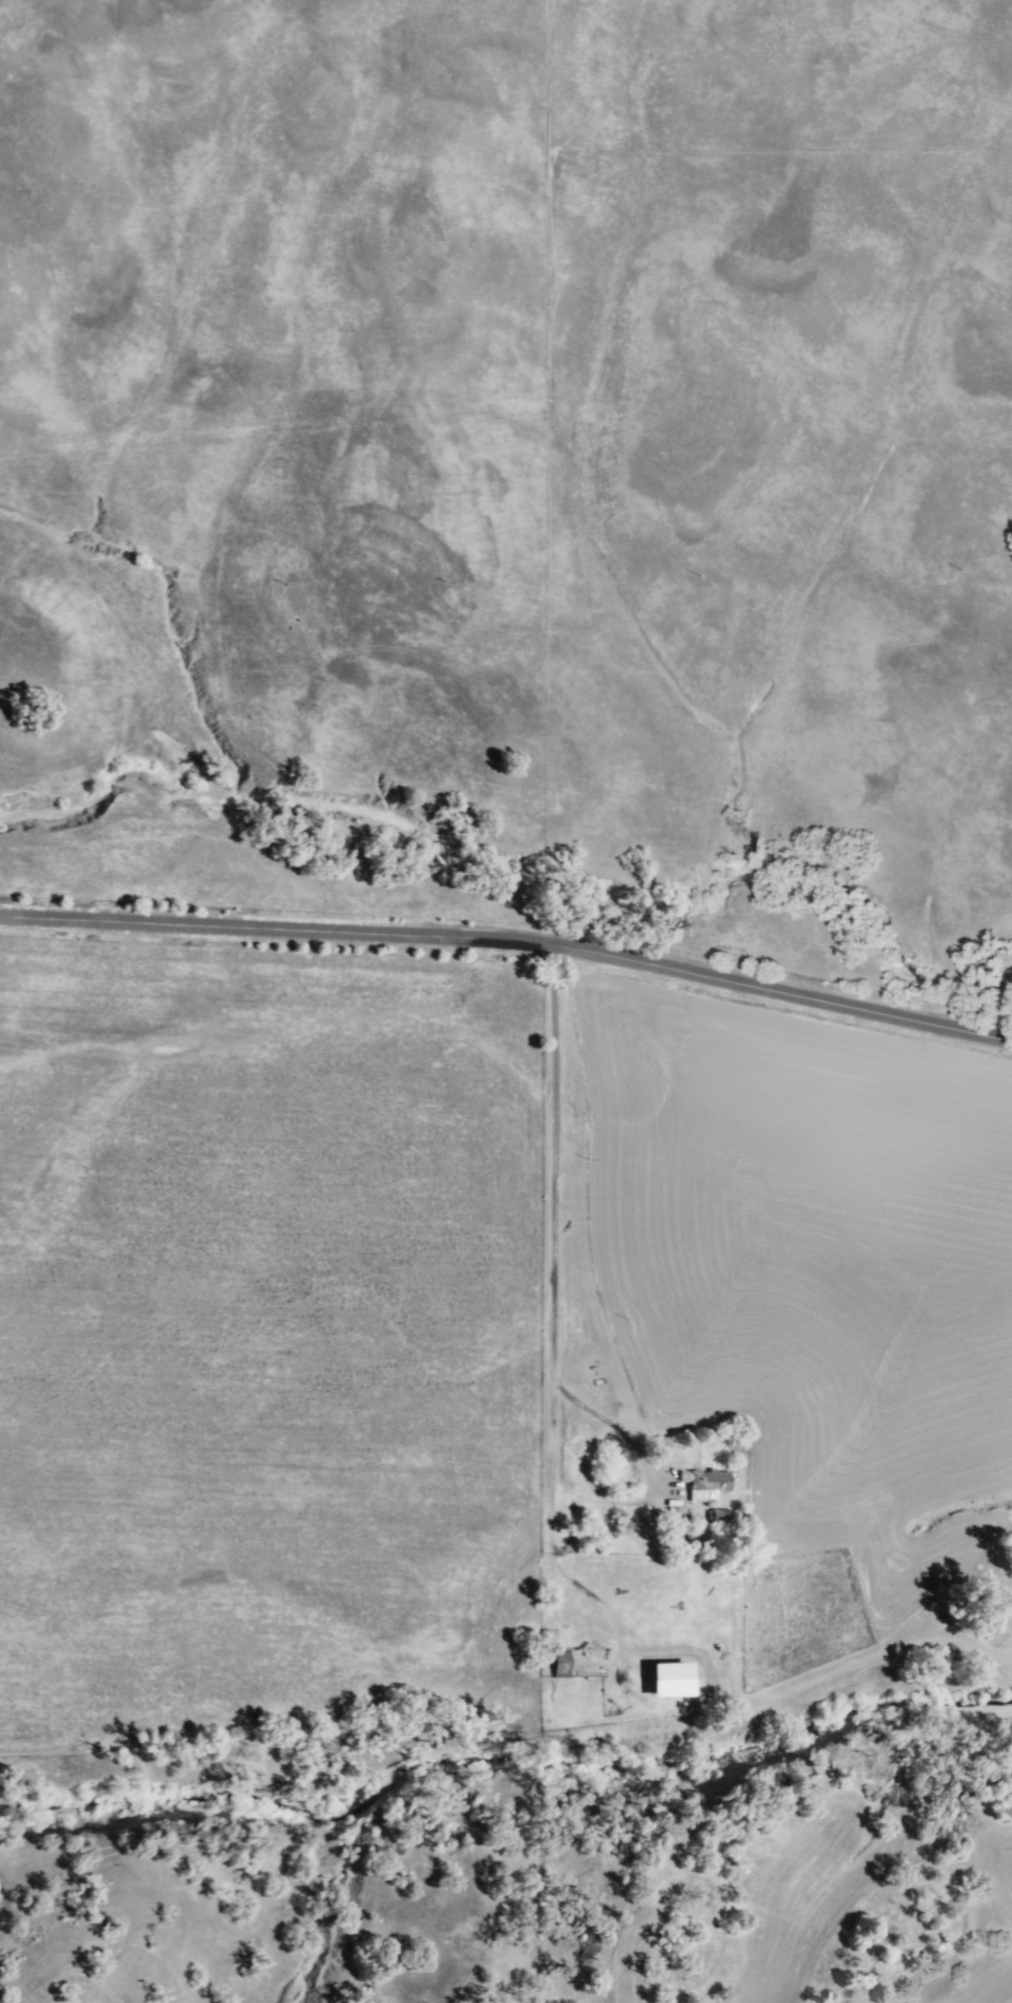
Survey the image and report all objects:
road: (510, 940)
road: (580, 1224)
building: (707, 1484)
building: (717, 1515)
building: (670, 1680)
river: (501, 1760)

